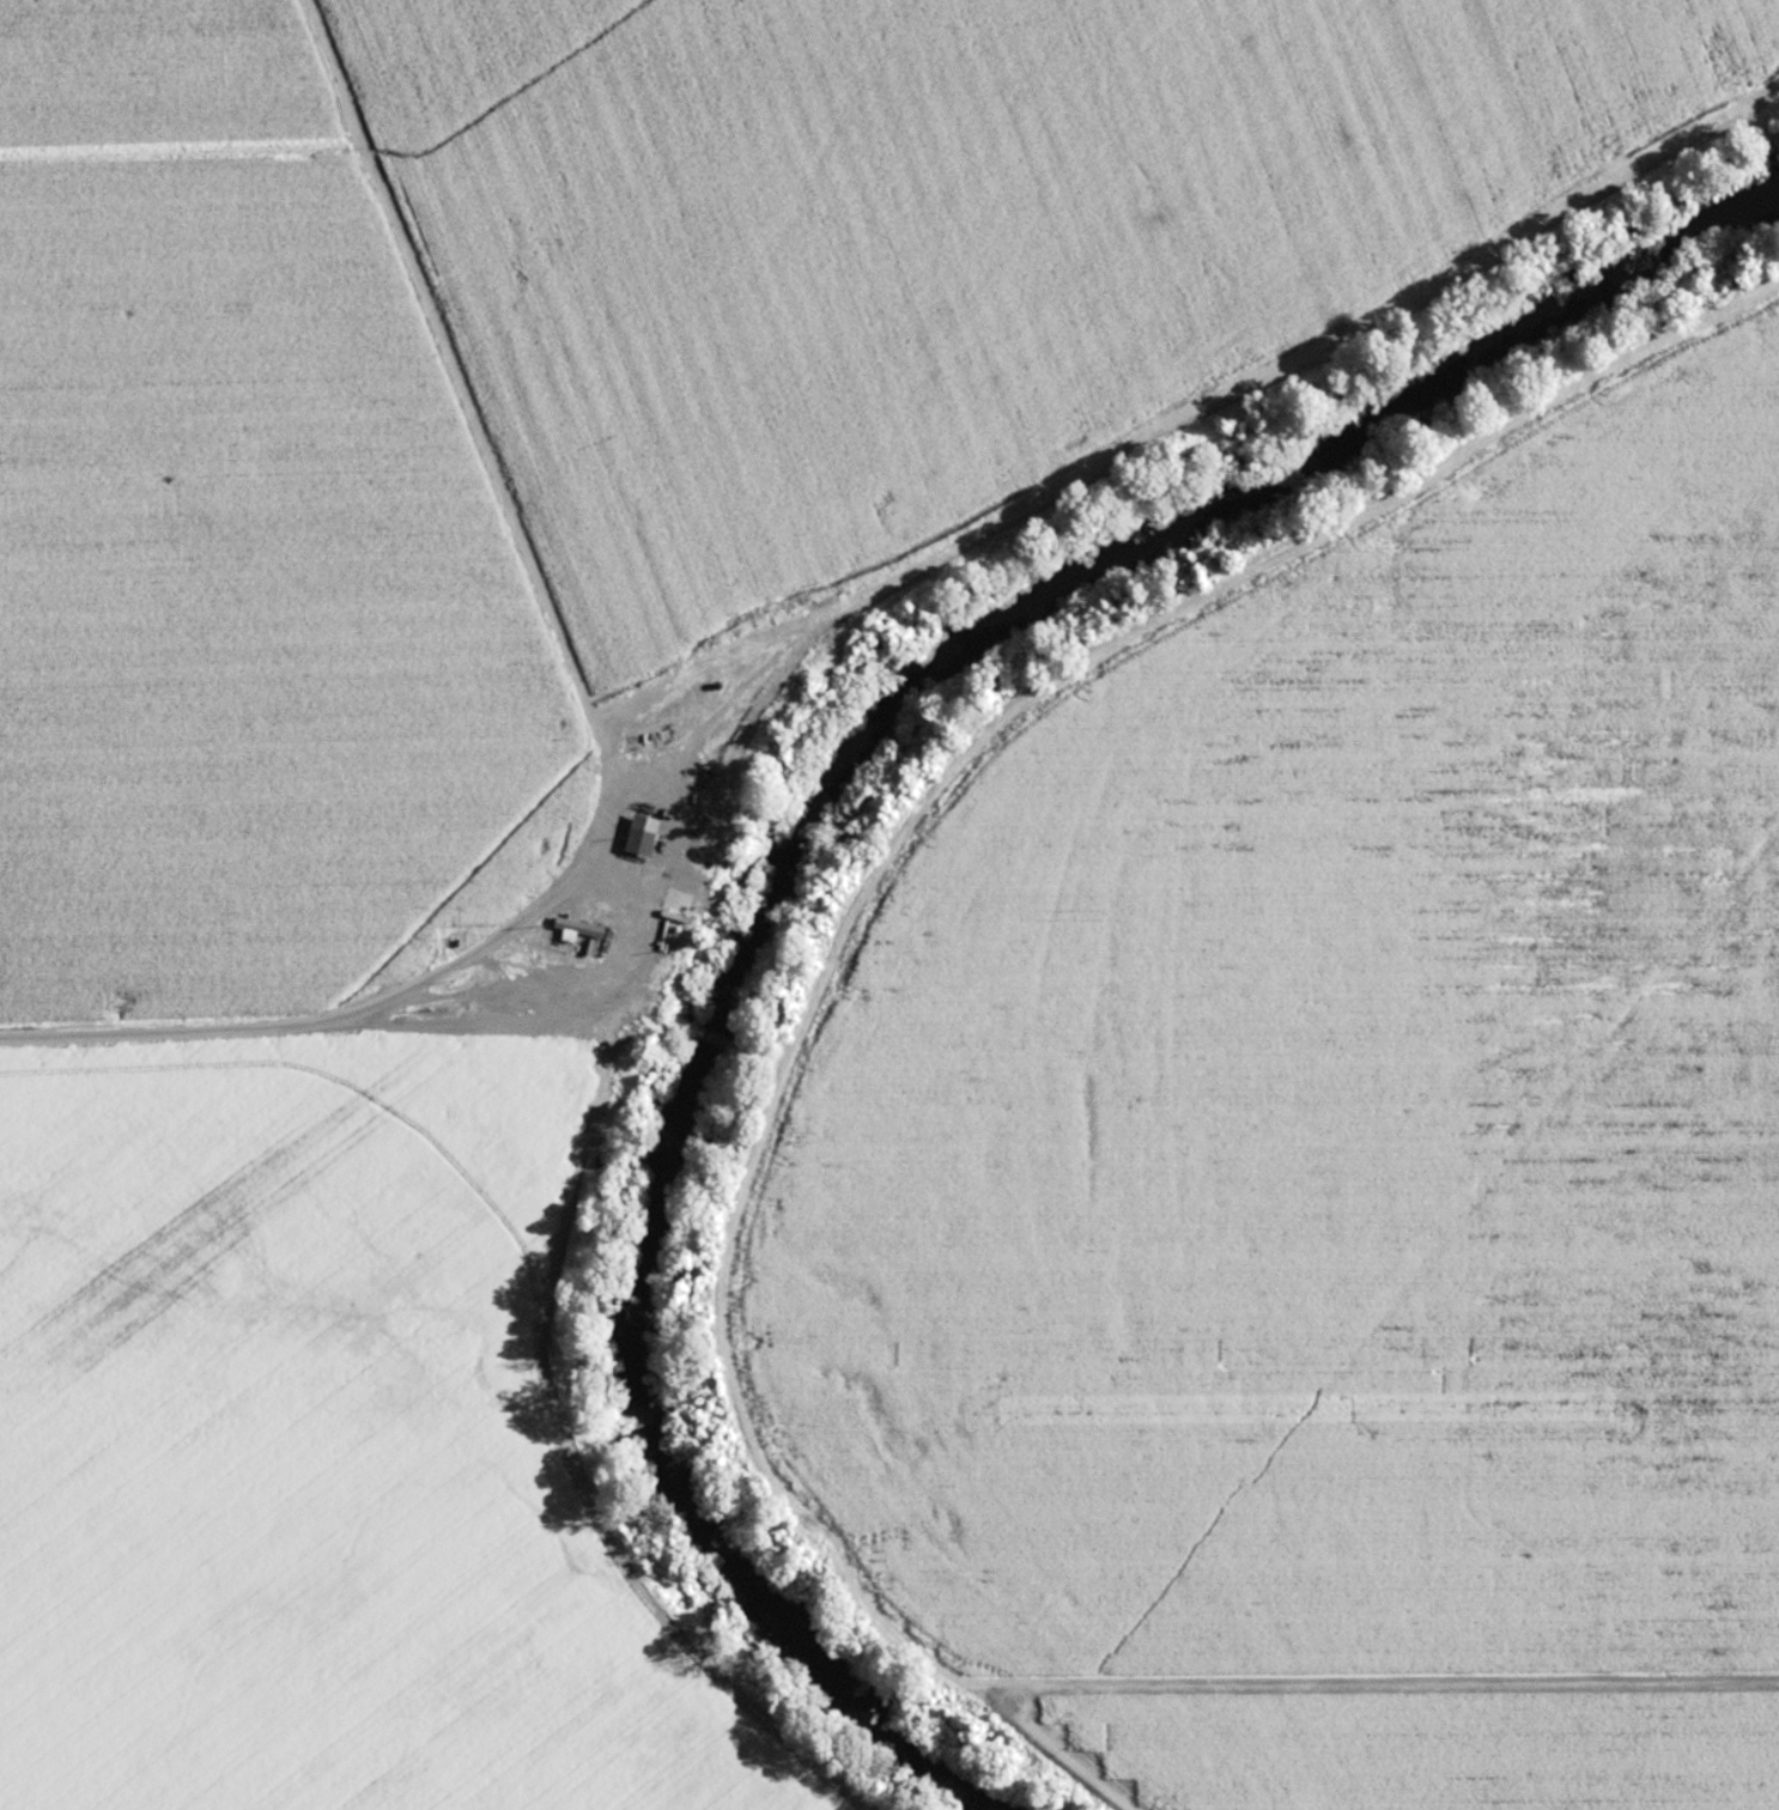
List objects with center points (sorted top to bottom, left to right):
road: (1226, 583)
river: (820, 826)
building: (633, 834)
building: (575, 927)
road: (626, 940)
road: (640, 1008)
road: (317, 1015)
road: (1273, 1024)
road: (702, 1032)
road: (791, 1043)
road: (760, 1055)
road: (784, 1501)
road: (1366, 1675)

